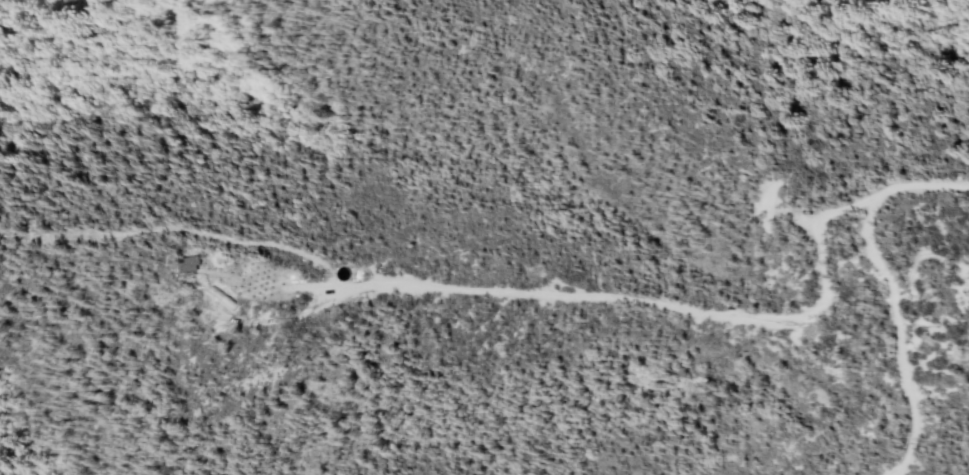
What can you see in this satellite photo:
building: (188, 265)
road: (893, 283)
road: (480, 289)
road: (267, 292)
road: (894, 469)

